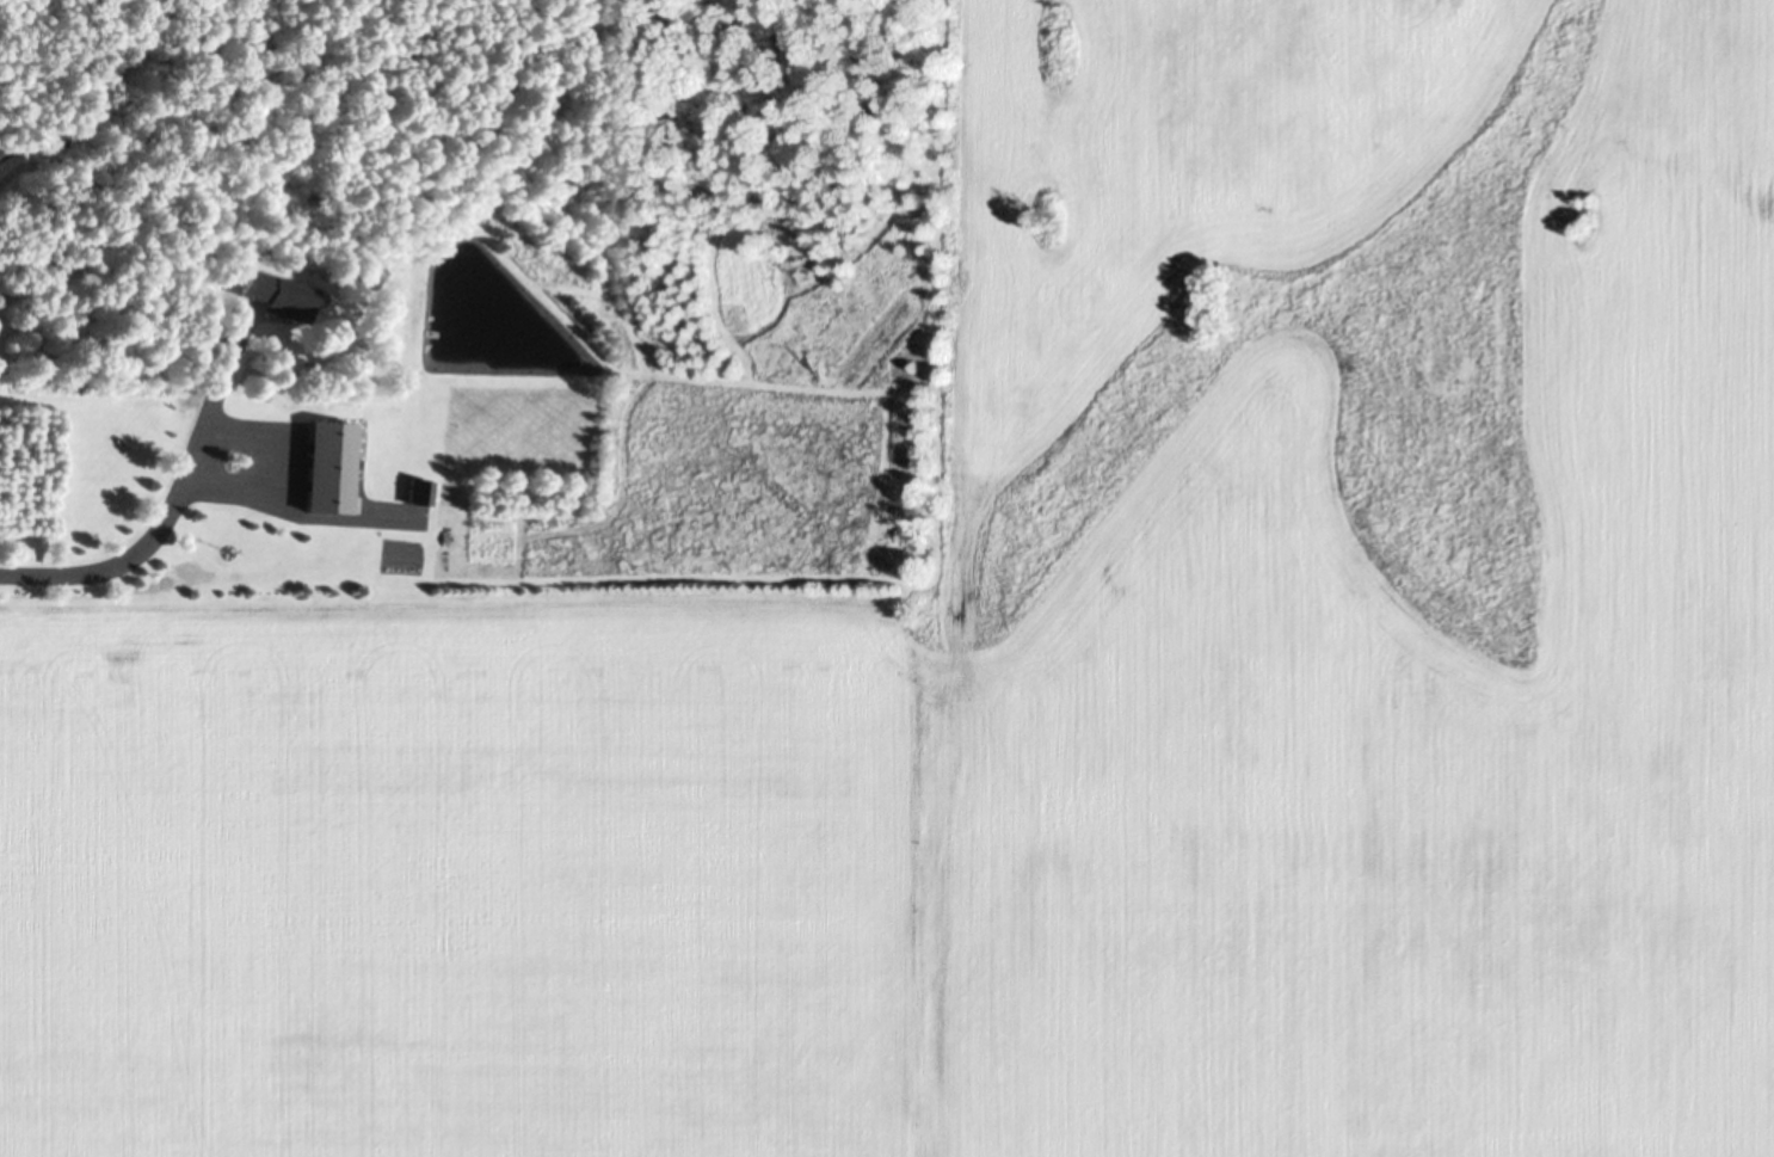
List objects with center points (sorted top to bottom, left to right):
building: (277, 293)
building: (326, 466)
building: (419, 491)

